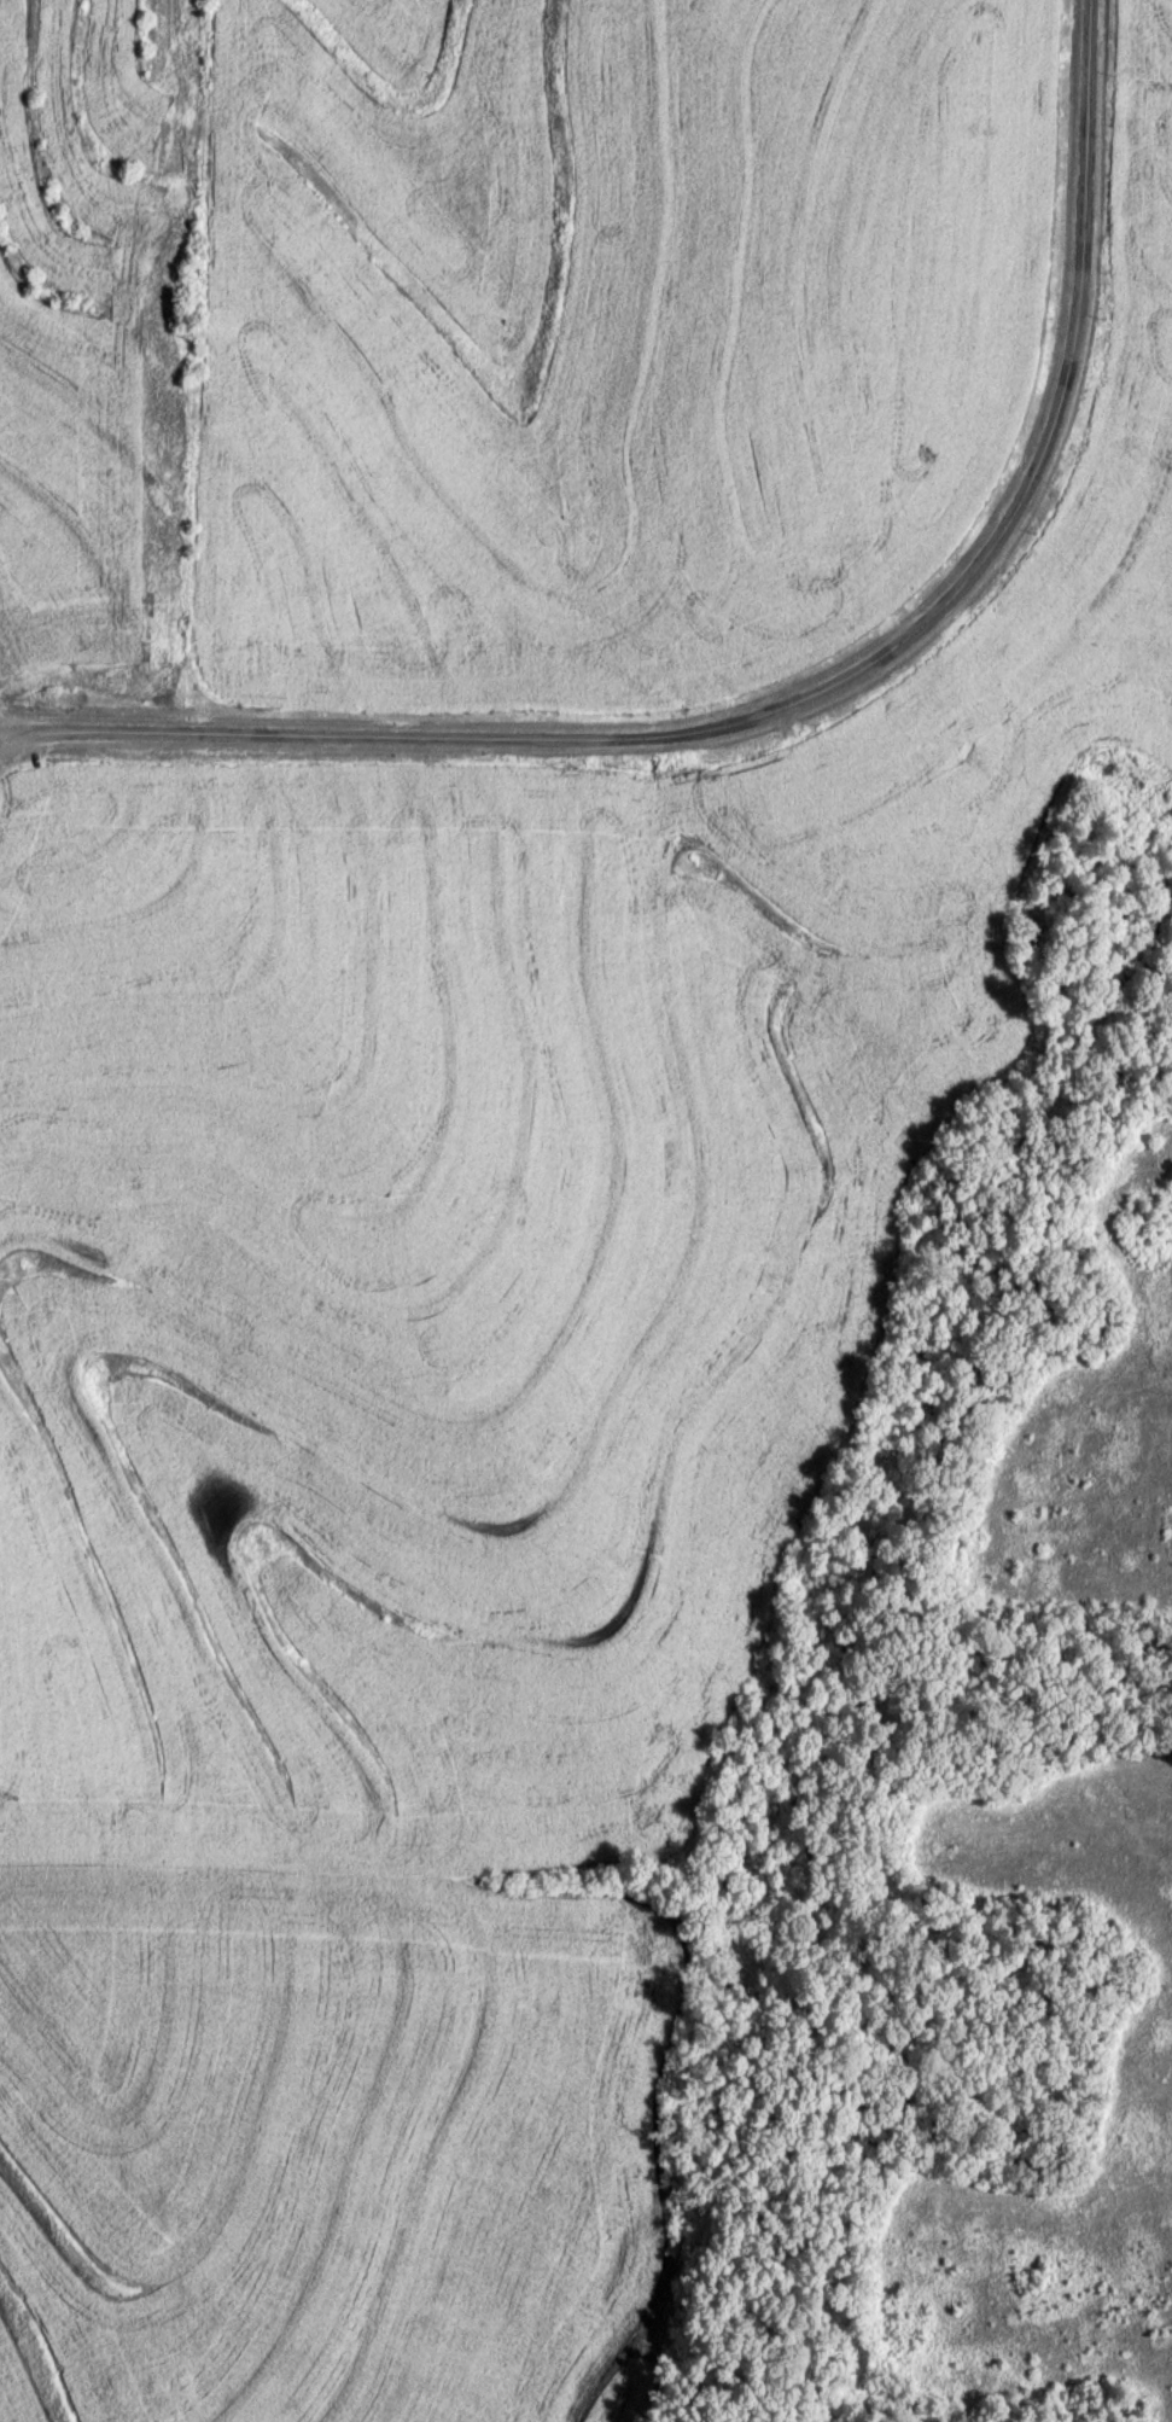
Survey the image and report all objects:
road: (800, 695)

